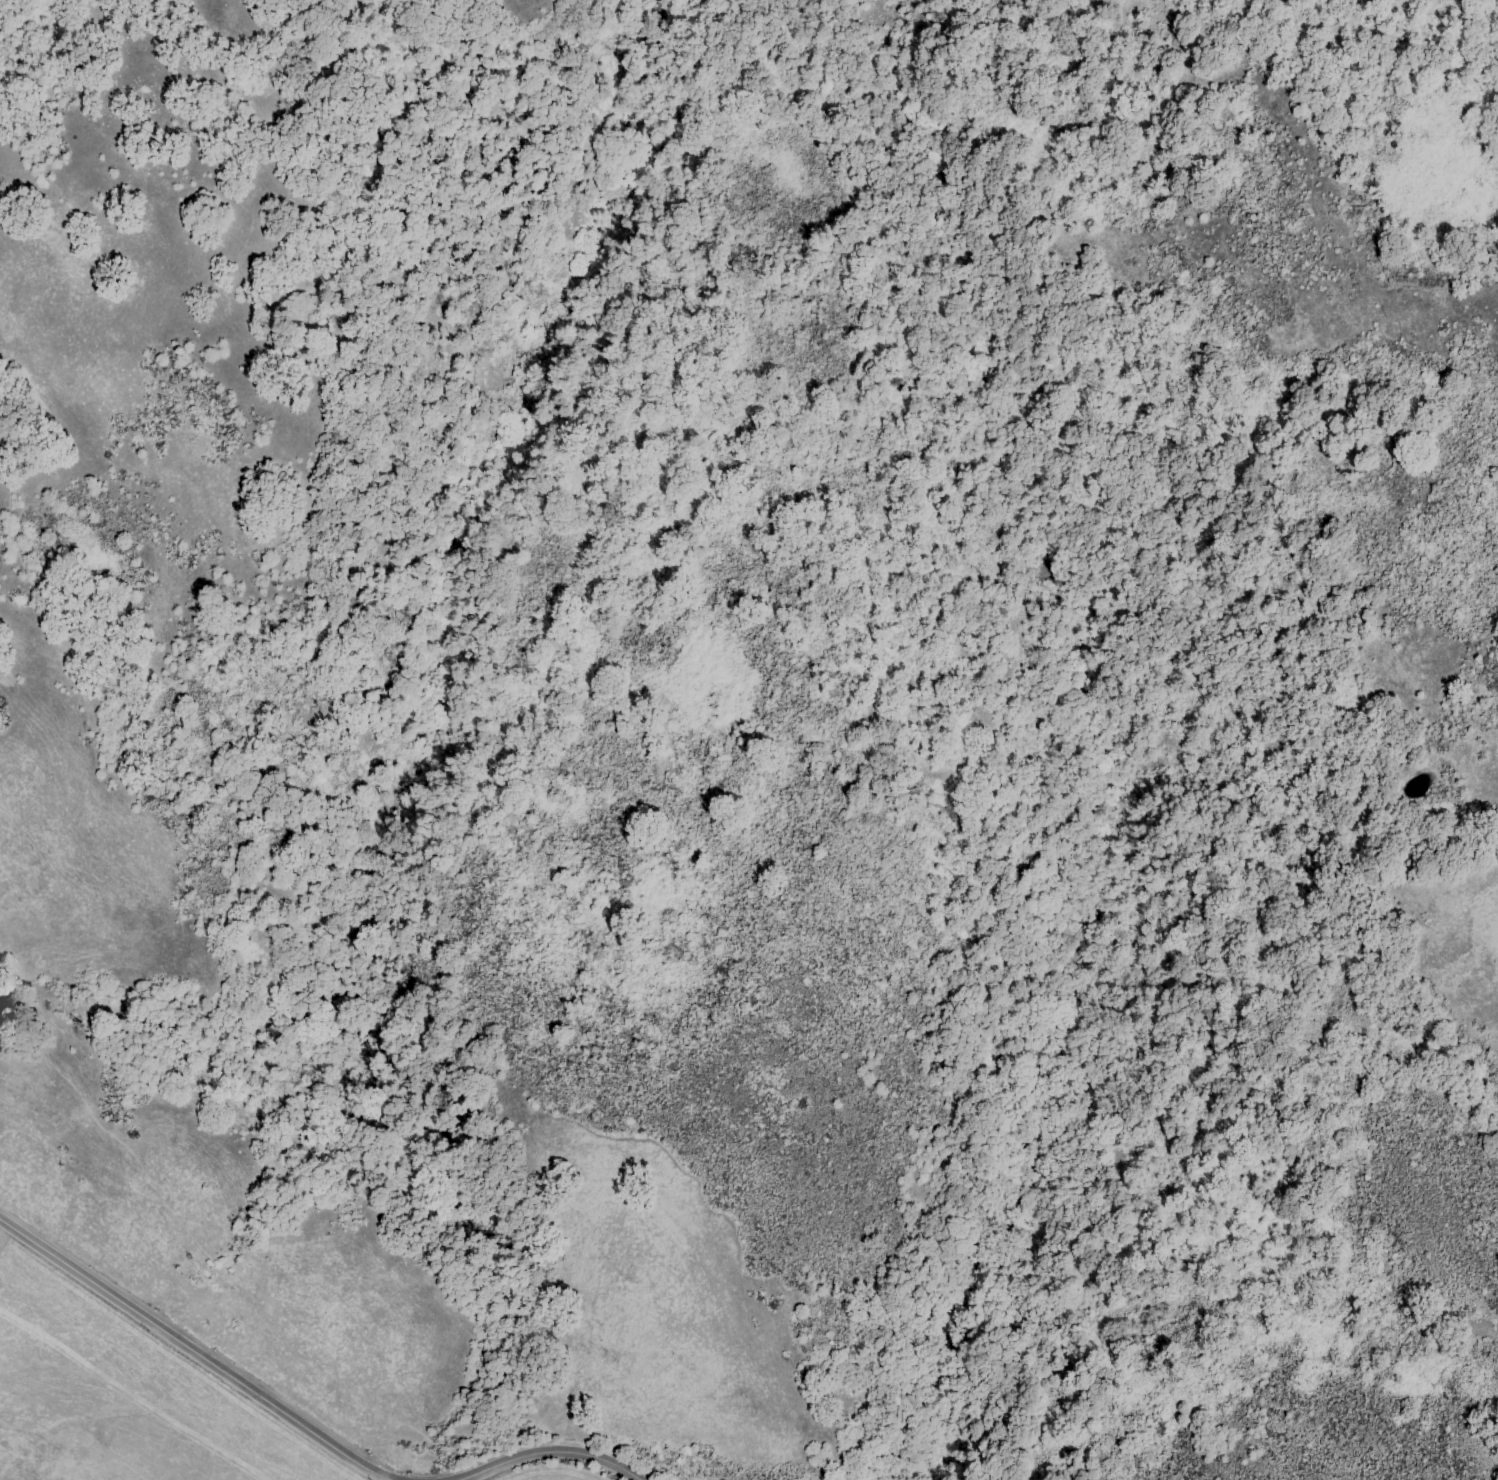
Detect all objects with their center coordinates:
road: (194, 1353)
road: (549, 1452)

